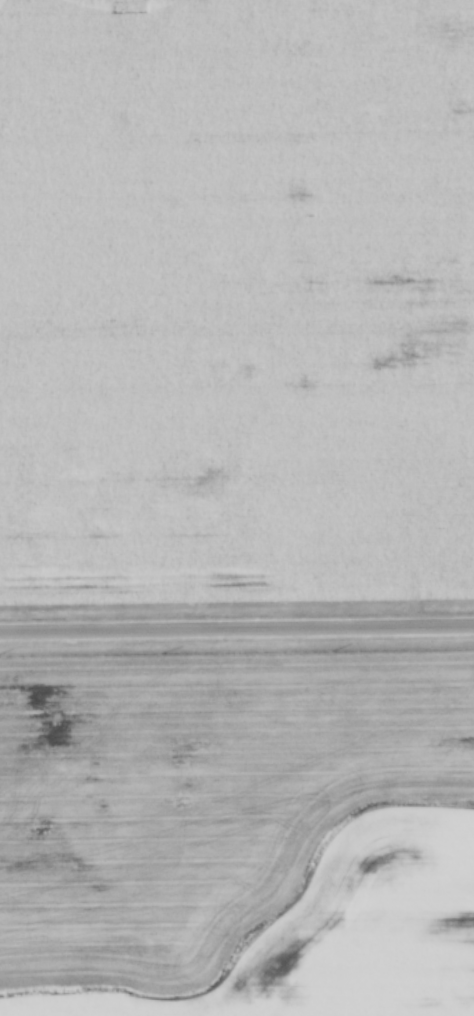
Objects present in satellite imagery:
road: (237, 628)

